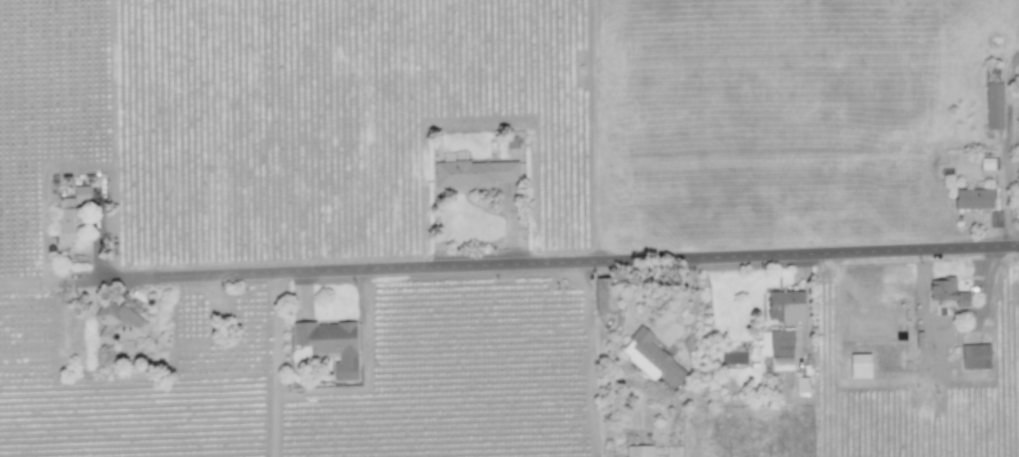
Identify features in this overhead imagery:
building: (476, 173)
building: (973, 198)
building: (73, 211)
road: (586, 262)
building: (946, 292)
building: (605, 294)
building: (785, 307)
building: (122, 323)
building: (332, 344)
building: (776, 348)
building: (733, 356)
building: (651, 358)
building: (801, 386)
building: (638, 451)

